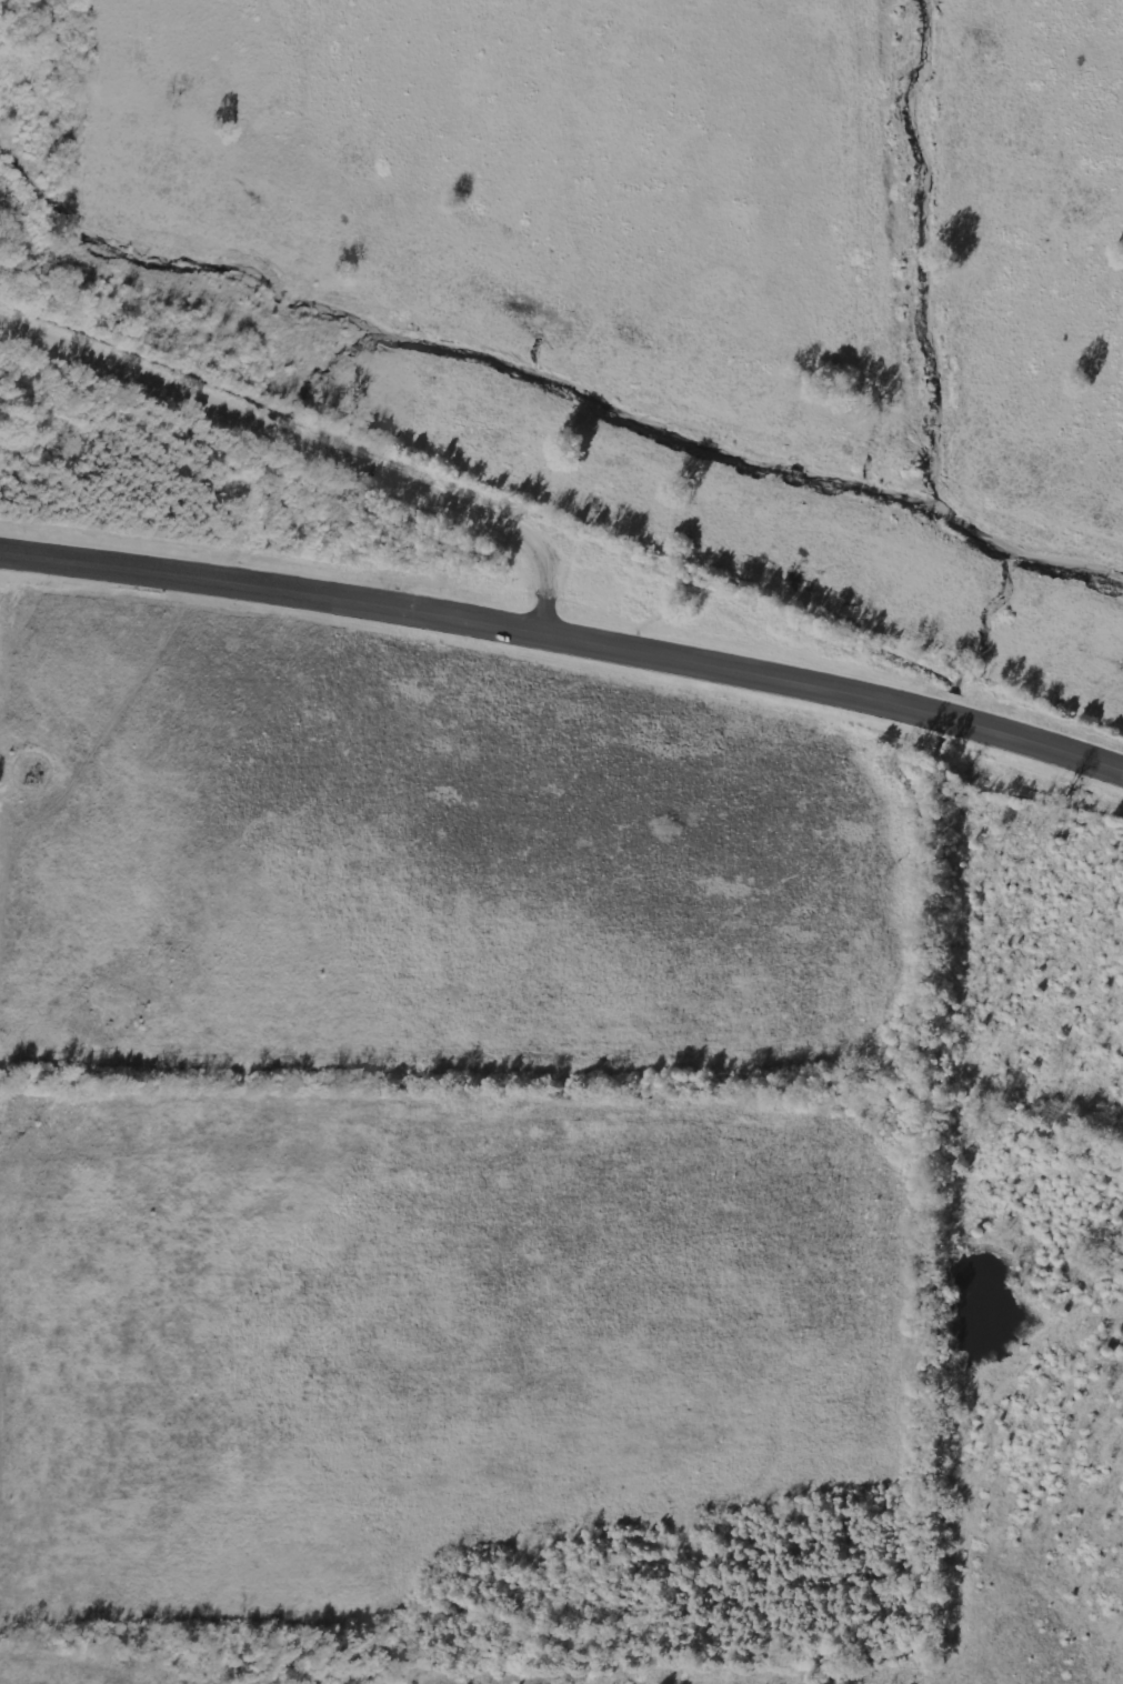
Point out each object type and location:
road: (307, 442)
road: (267, 590)
road: (830, 690)

